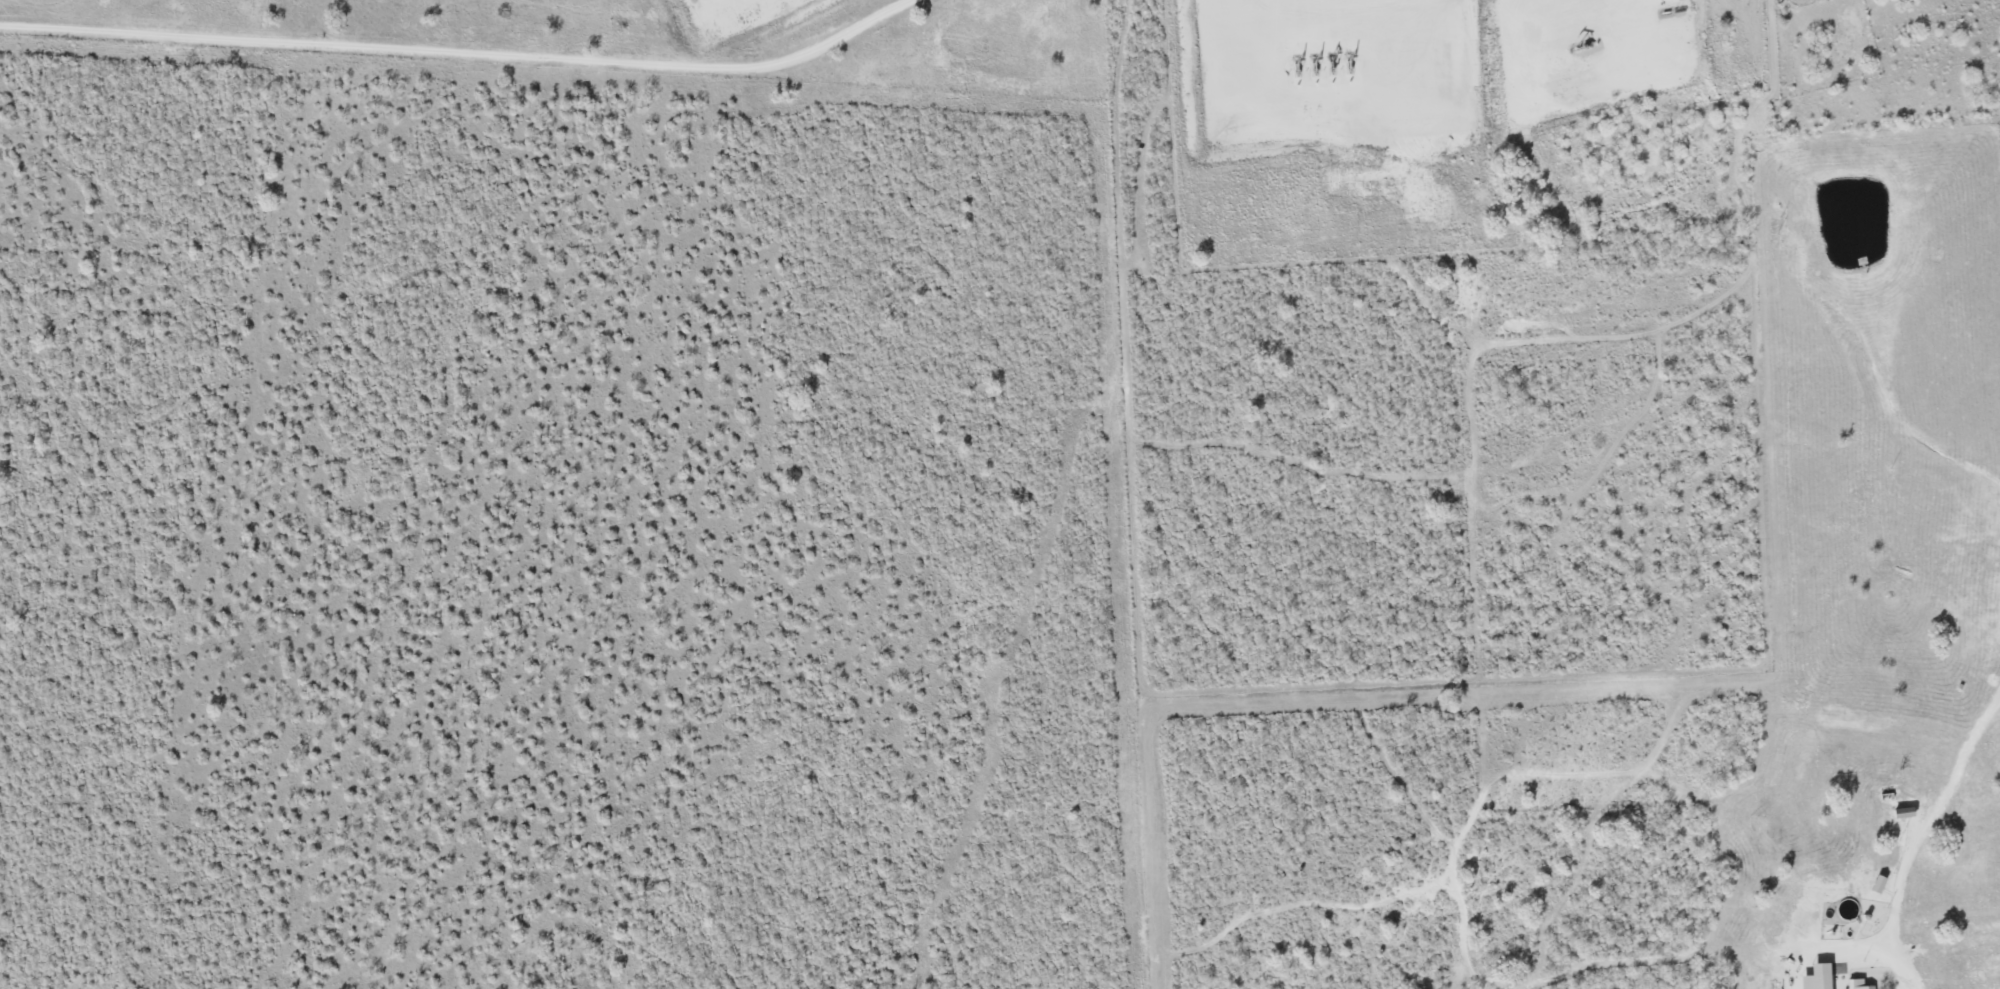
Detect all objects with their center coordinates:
road: (465, 53)
building: (1902, 814)
building: (1989, 959)
road: (1909, 982)
building: (1854, 985)

